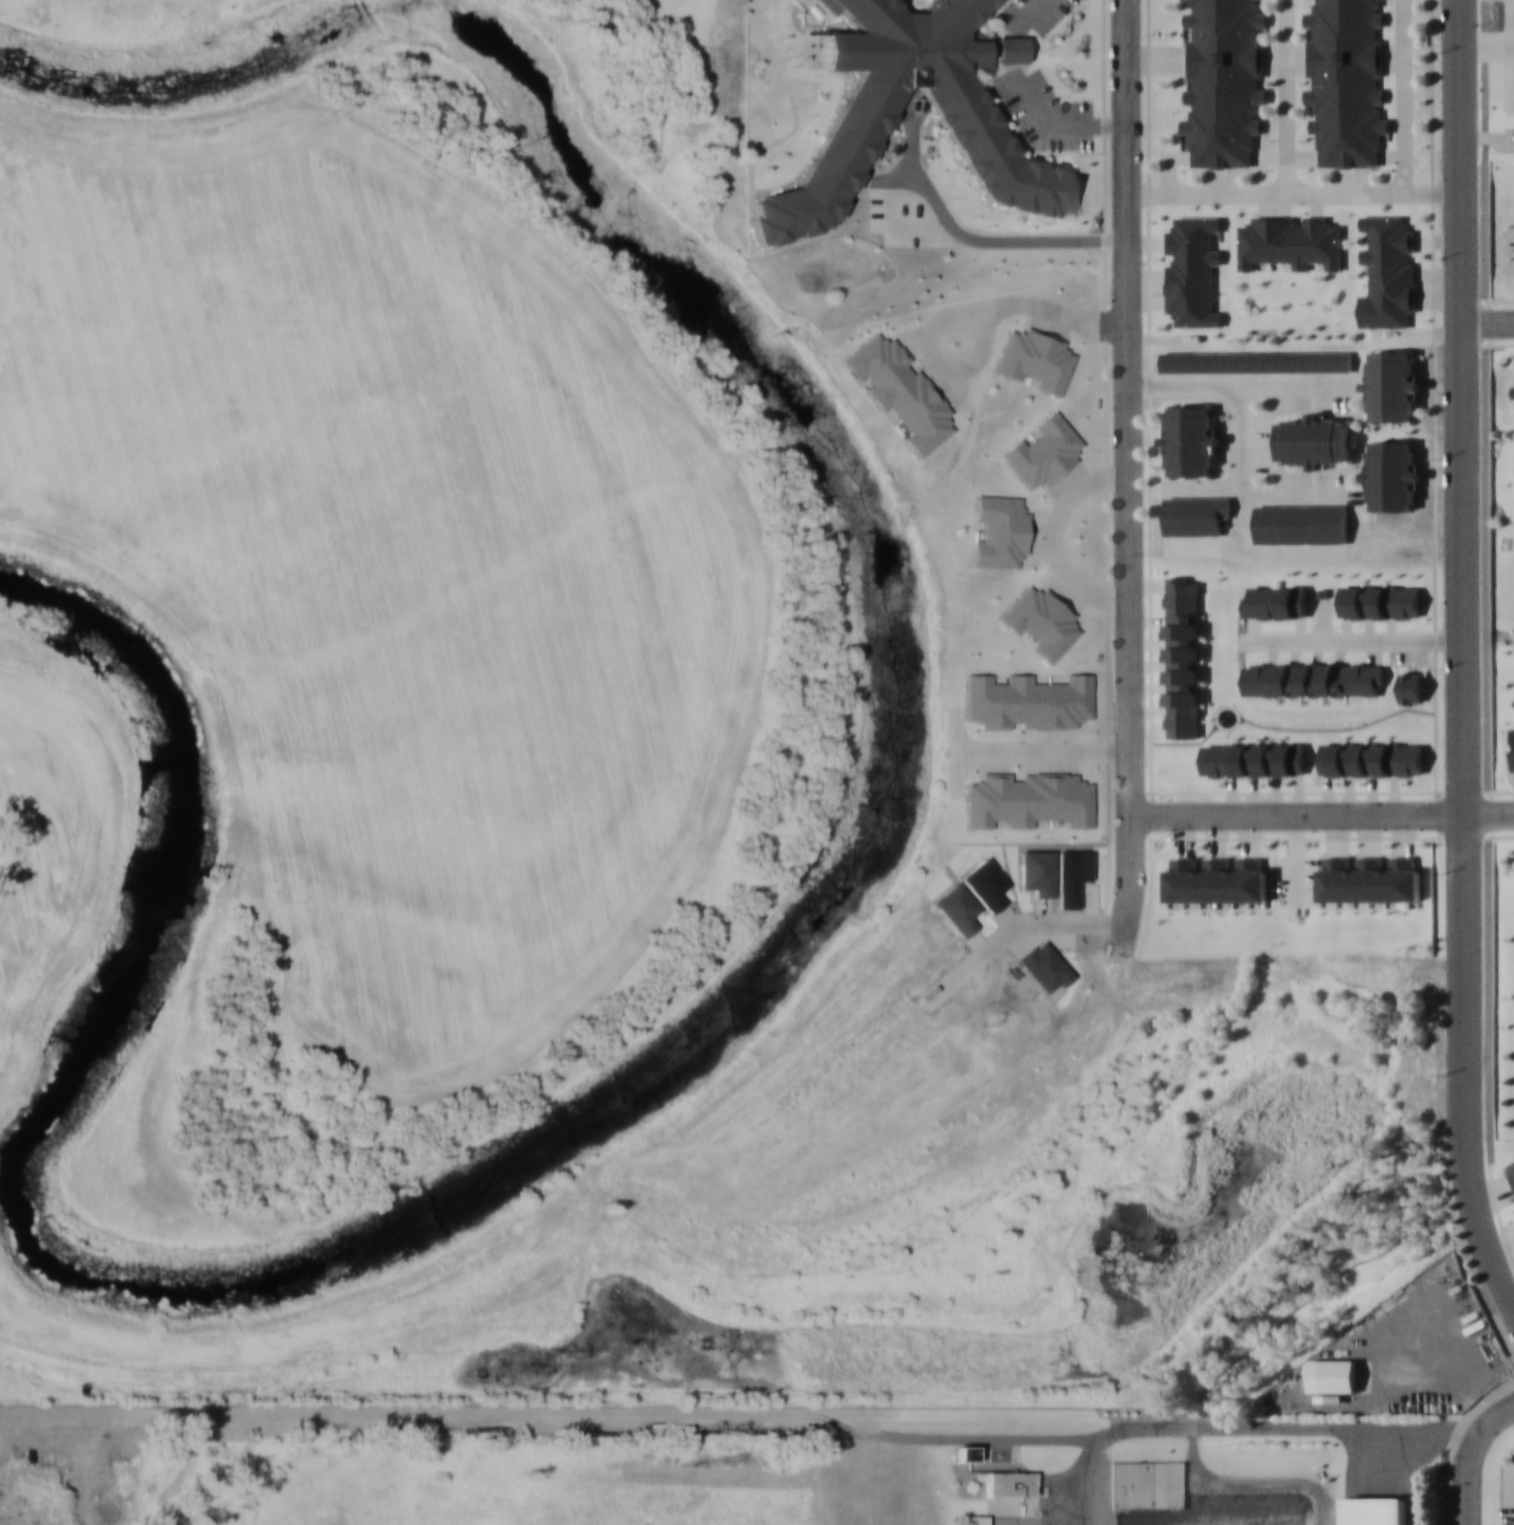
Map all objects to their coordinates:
building: (1112, 18)
building: (1009, 49)
building: (1346, 80)
building: (1224, 81)
building: (949, 96)
building: (1289, 241)
building: (1192, 271)
building: (1388, 271)
road: (1487, 322)
building: (1256, 361)
building: (1391, 385)
building: (1313, 440)
building: (1189, 441)
building: (1391, 475)
road: (1129, 479)
building: (1194, 514)
building: (1301, 523)
building: (1379, 601)
building: (1275, 602)
building: (1183, 656)
road: (1463, 662)
building: (1313, 678)
building: (1410, 687)
building: (1512, 757)
building: (1371, 758)
building: (1253, 759)
road: (1298, 813)
road: (1489, 813)
road: (1011, 923)
building: (1512, 1168)
building: (1339, 1376)
road: (1469, 1455)
building: (1148, 1483)
building: (1008, 1484)
building: (1375, 1510)
building: (973, 1519)

